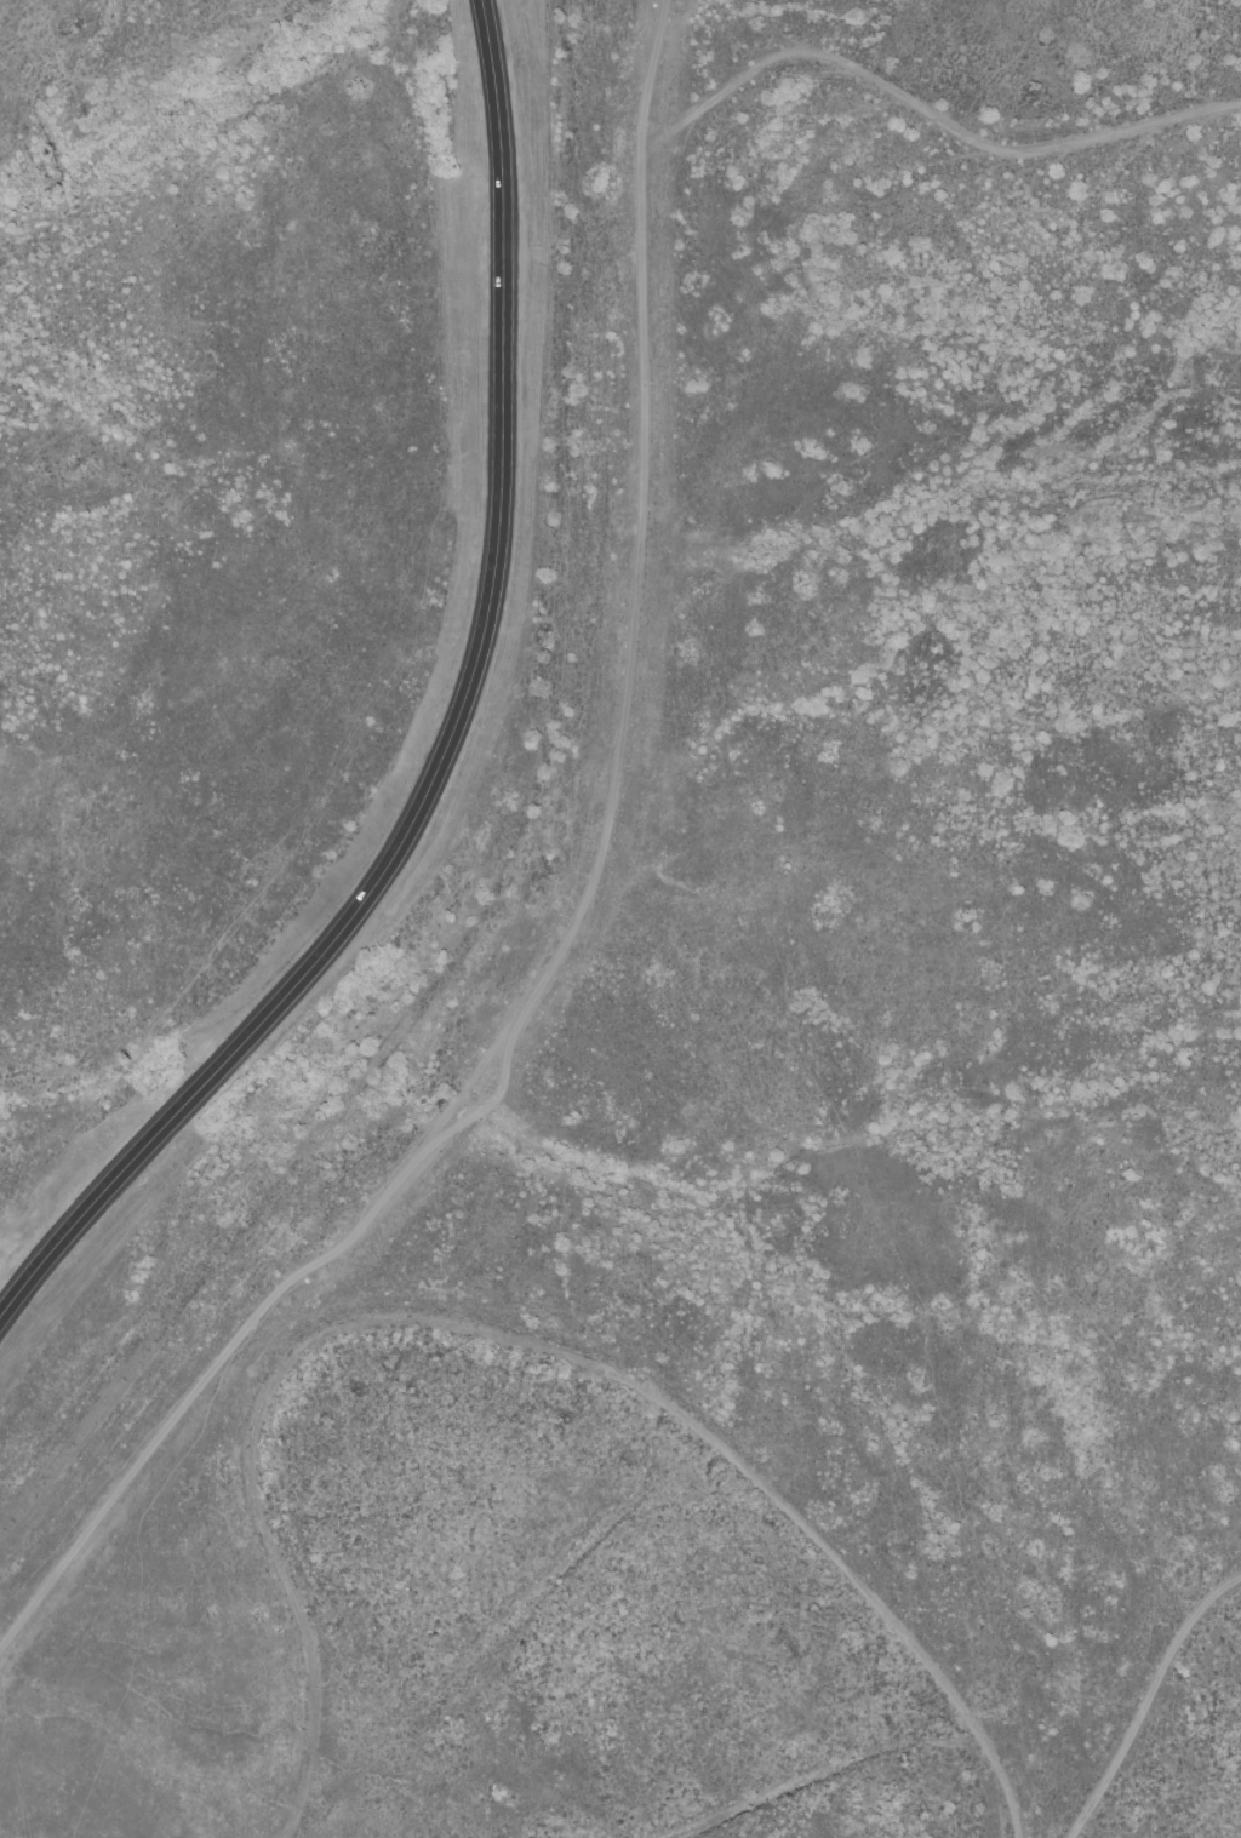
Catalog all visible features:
road: (452, 737)
road: (576, 922)

